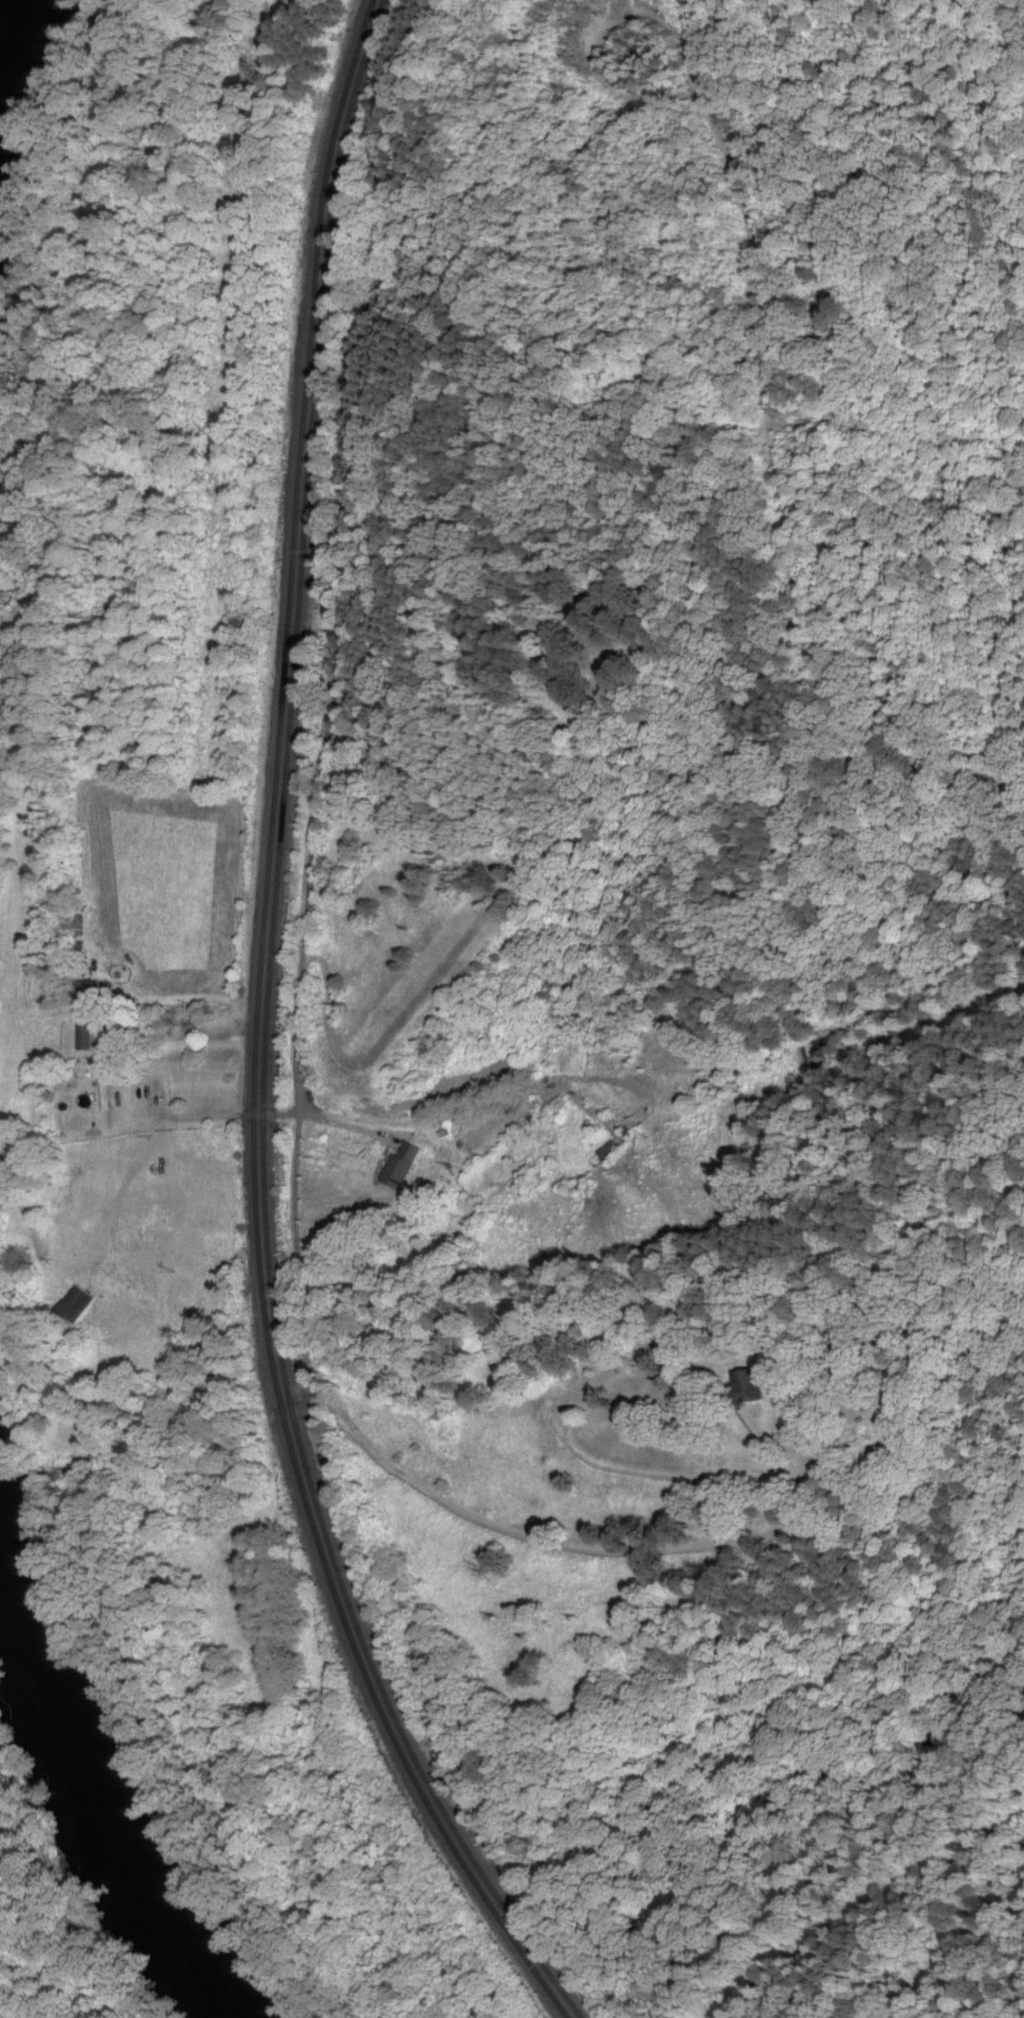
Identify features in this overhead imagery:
road: (747, 463)
road: (351, 551)
building: (96, 1037)
railway: (267, 1040)
road: (232, 1116)
building: (612, 1151)
building: (397, 1172)
building: (83, 1305)
building: (749, 1386)
road: (786, 1445)
road: (420, 1483)
river: (118, 1829)

